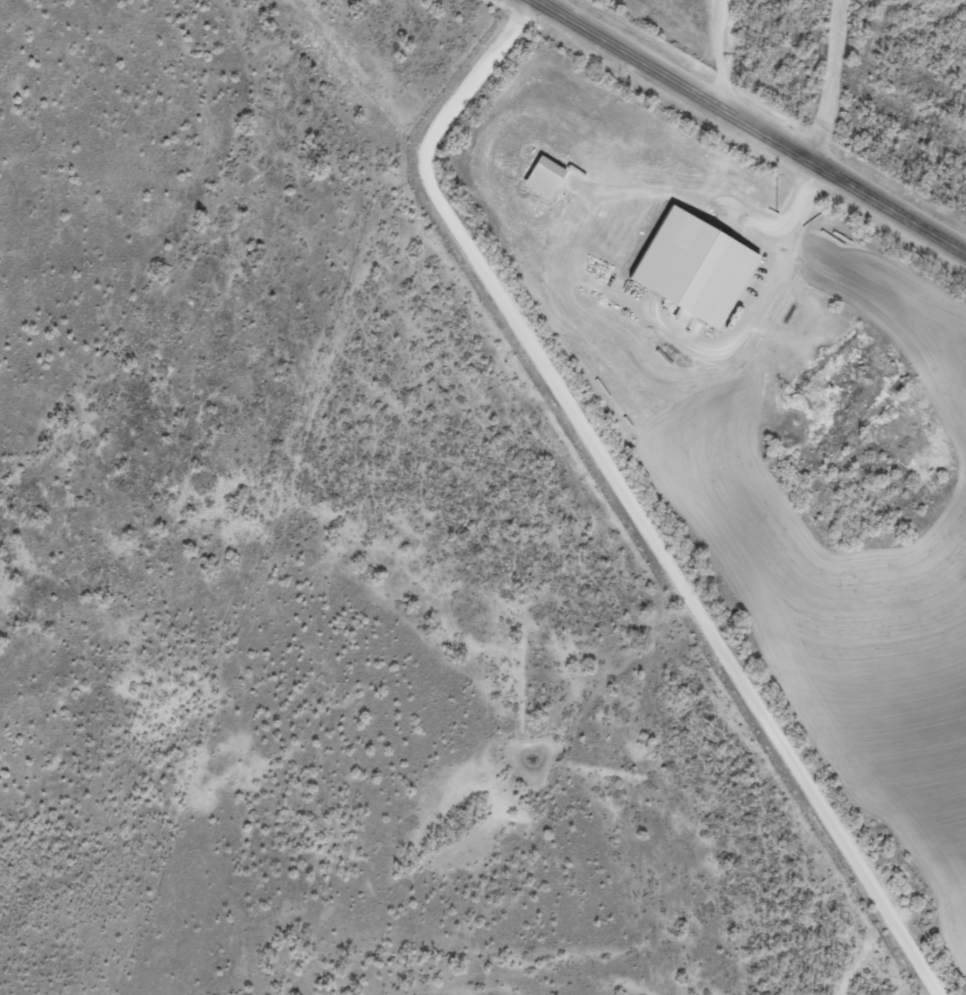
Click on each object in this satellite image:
road: (715, 64)
road: (731, 137)
building: (544, 174)
building: (694, 261)
road: (612, 510)

